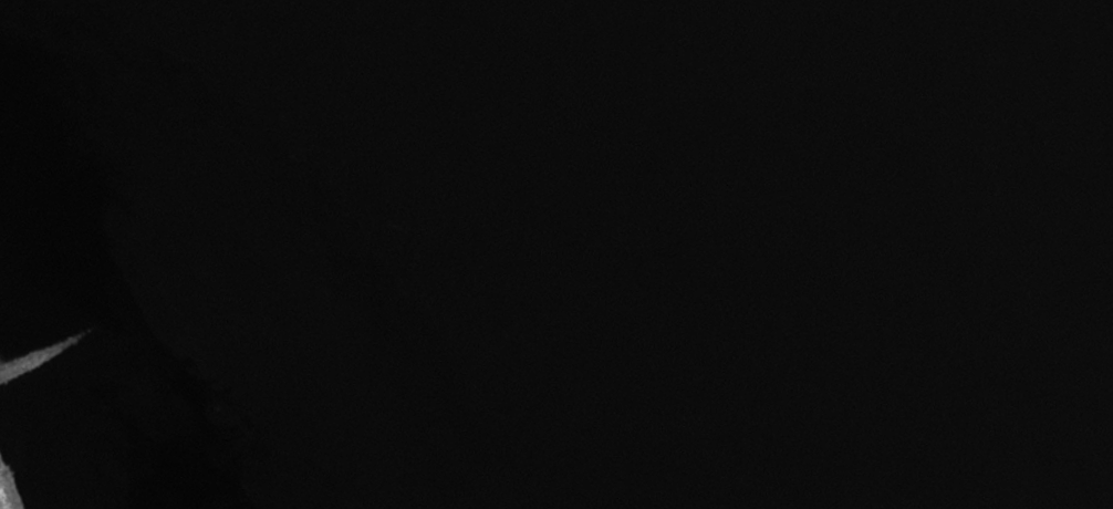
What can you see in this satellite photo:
river: (753, 252)

